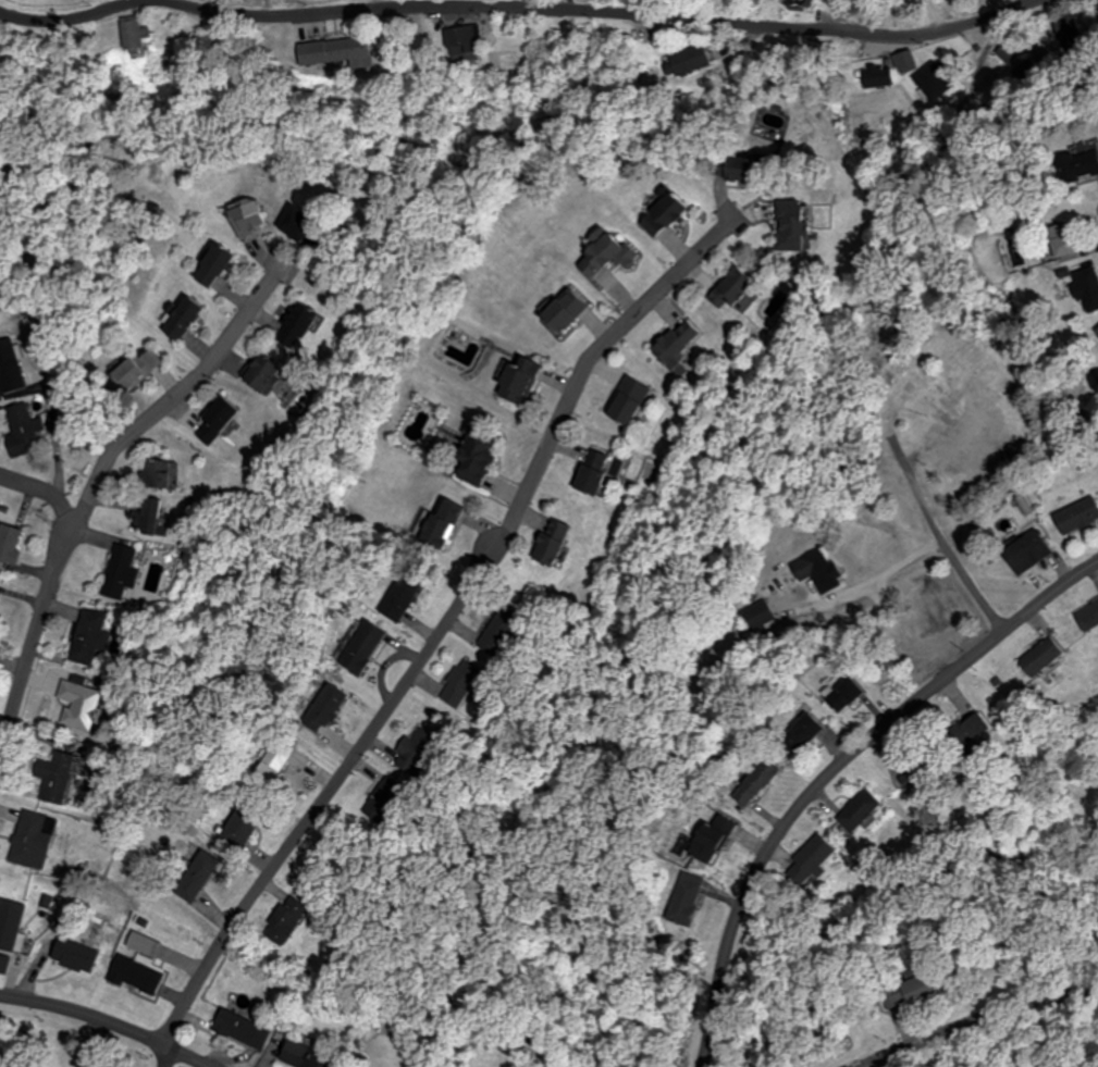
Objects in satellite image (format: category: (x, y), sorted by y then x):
building: (795, 4)
building: (1096, 9)
road: (521, 10)
building: (1065, 34)
building: (134, 37)
building: (468, 39)
building: (341, 51)
building: (905, 60)
building: (876, 76)
building: (934, 80)
road: (22, 111)
building: (1077, 164)
building: (732, 168)
building: (662, 213)
building: (248, 216)
building: (298, 223)
building: (791, 226)
building: (1060, 239)
building: (605, 253)
building: (214, 265)
building: (1087, 288)
building: (730, 289)
building: (564, 309)
building: (182, 318)
building: (296, 325)
building: (1096, 332)
building: (676, 344)
building: (10, 368)
building: (259, 372)
building: (129, 374)
building: (517, 379)
building: (935, 390)
building: (627, 400)
building: (215, 421)
building: (23, 427)
building: (476, 454)
building: (591, 472)
road: (48, 493)
road: (92, 494)
building: (148, 514)
building: (1076, 517)
building: (441, 523)
road: (940, 538)
building: (10, 542)
building: (550, 543)
building: (1026, 553)
building: (817, 570)
building: (121, 571)
building: (403, 594)
building: (1087, 617)
road: (449, 626)
building: (501, 631)
building: (87, 636)
building: (1039, 657)
building: (462, 684)
building: (844, 695)
building: (81, 705)
building: (324, 707)
building: (804, 730)
building: (970, 733)
building: (419, 750)
road: (835, 767)
building: (917, 773)
building: (755, 782)
building: (54, 784)
building: (391, 787)
building: (859, 810)
road: (1097, 811)
building: (239, 828)
building: (33, 840)
building: (710, 840)
building: (811, 858)
building: (189, 889)
building: (686, 898)
building: (10, 922)
building: (75, 954)
building: (4, 963)
building: (135, 973)
building: (922, 991)
road: (976, 1019)
road: (110, 1020)
building: (240, 1029)
road: (163, 1055)
building: (304, 1055)

